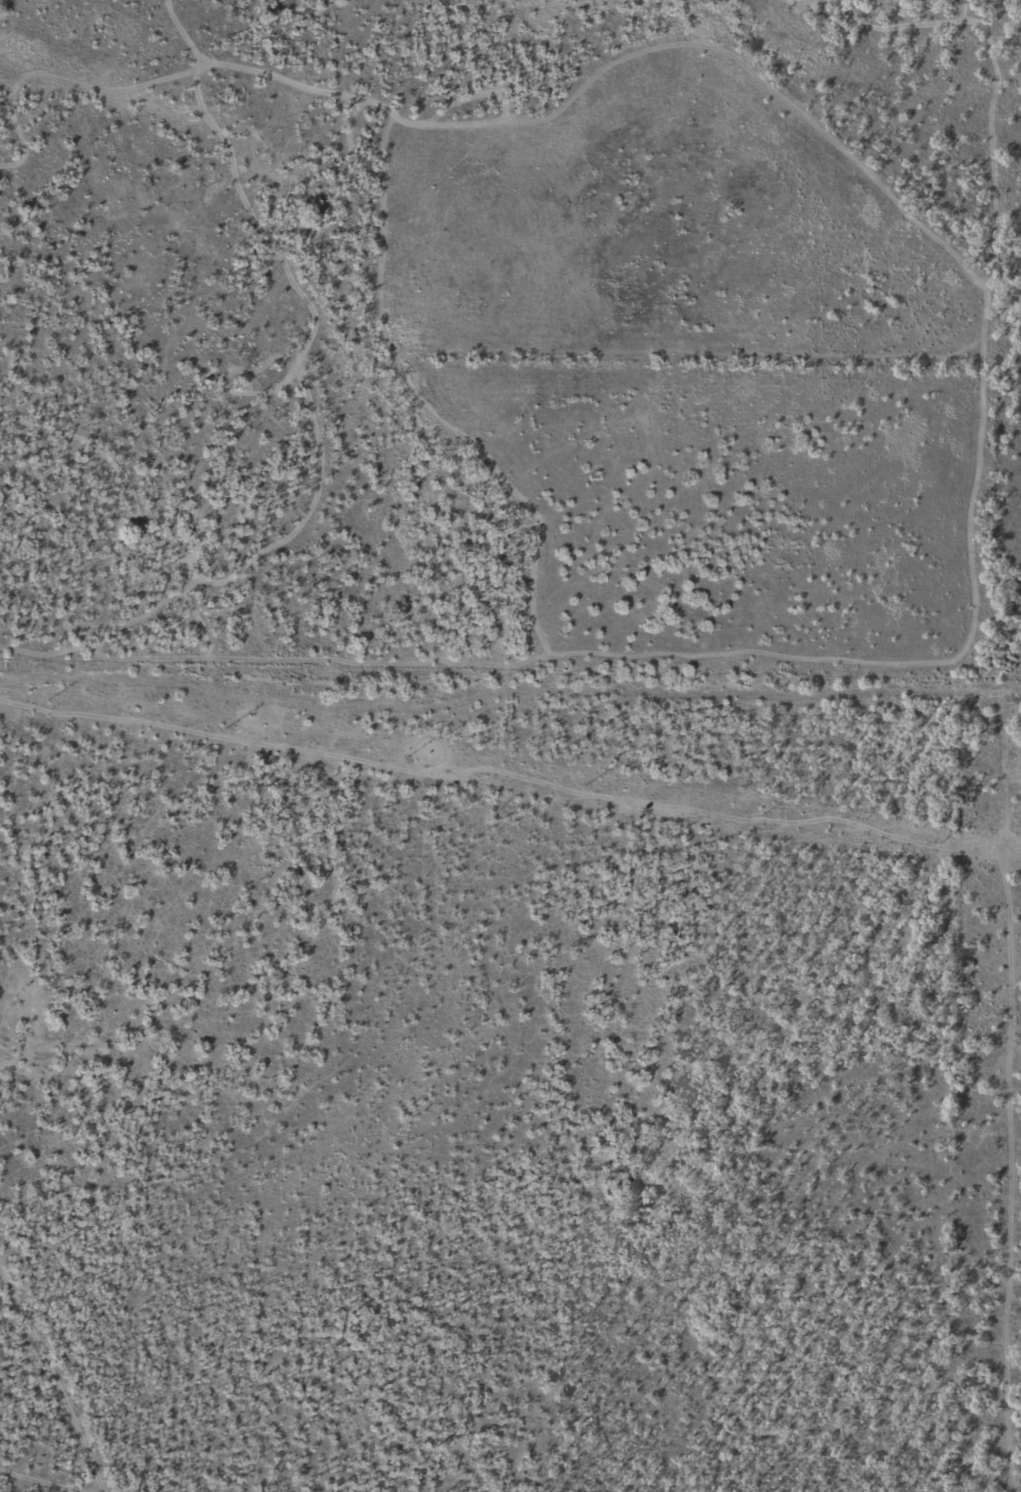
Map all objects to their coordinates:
road: (59, 1357)

